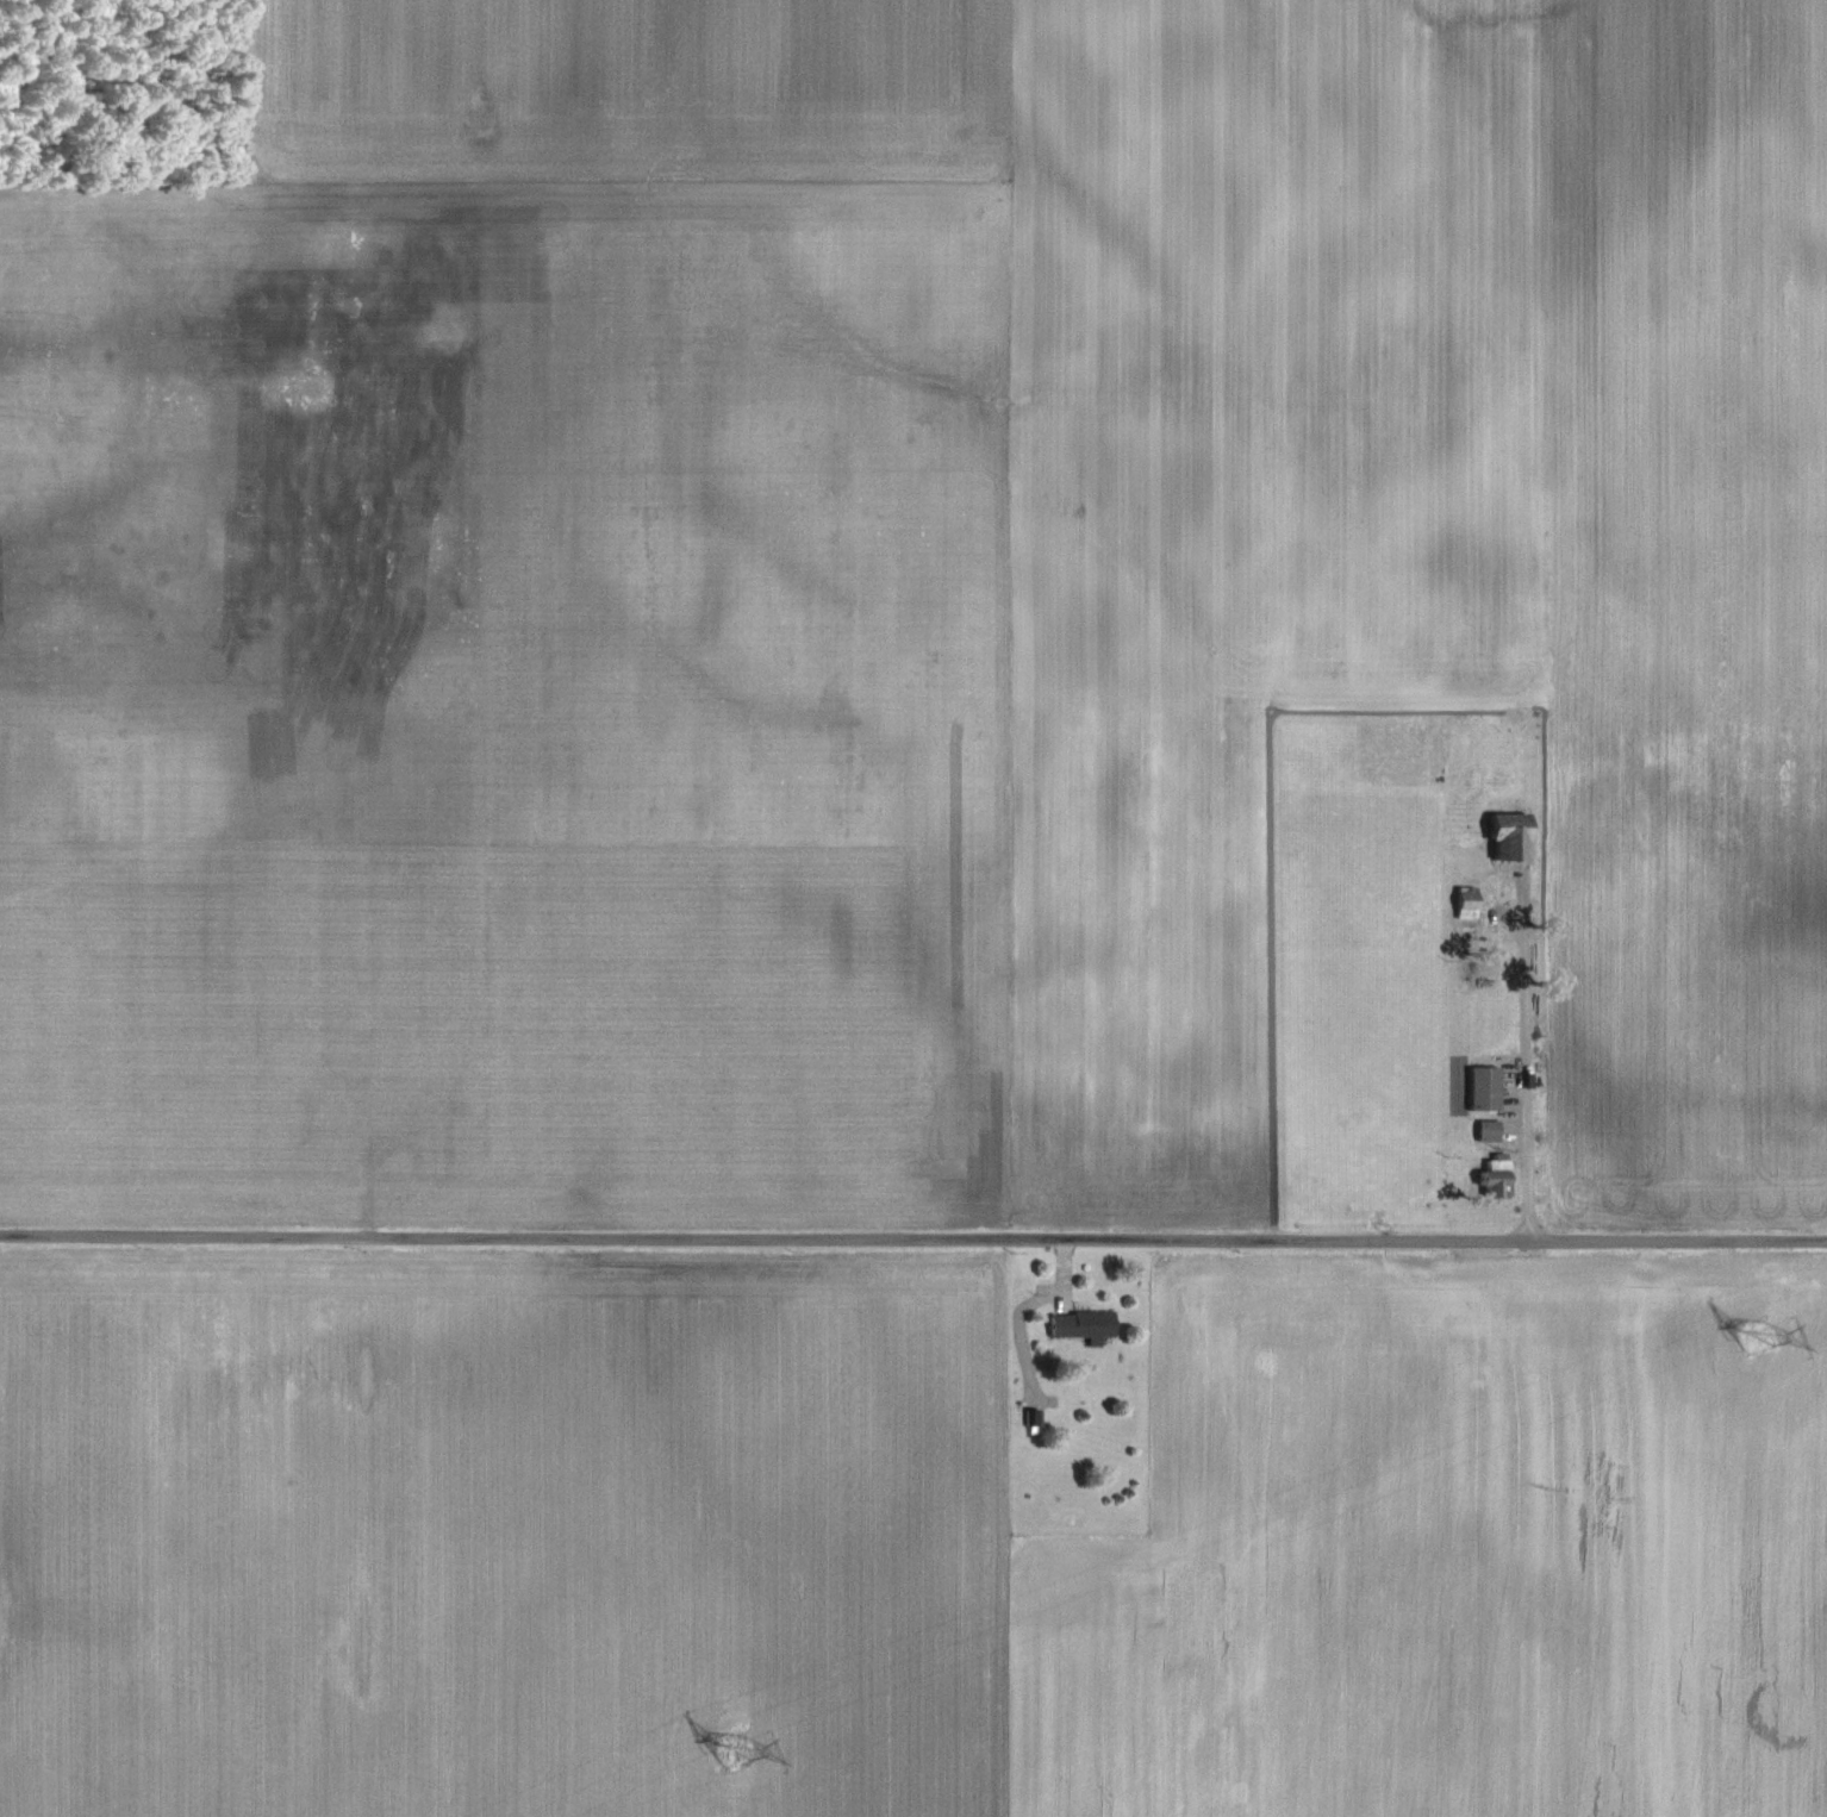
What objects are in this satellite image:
building: (1498, 838)
building: (1460, 903)
road: (1565, 1048)
building: (1479, 1088)
building: (1483, 1131)
building: (1490, 1176)
road: (912, 1238)
building: (1083, 1325)
power tower: (1752, 1338)
building: (1031, 1420)
power tower: (736, 1752)

